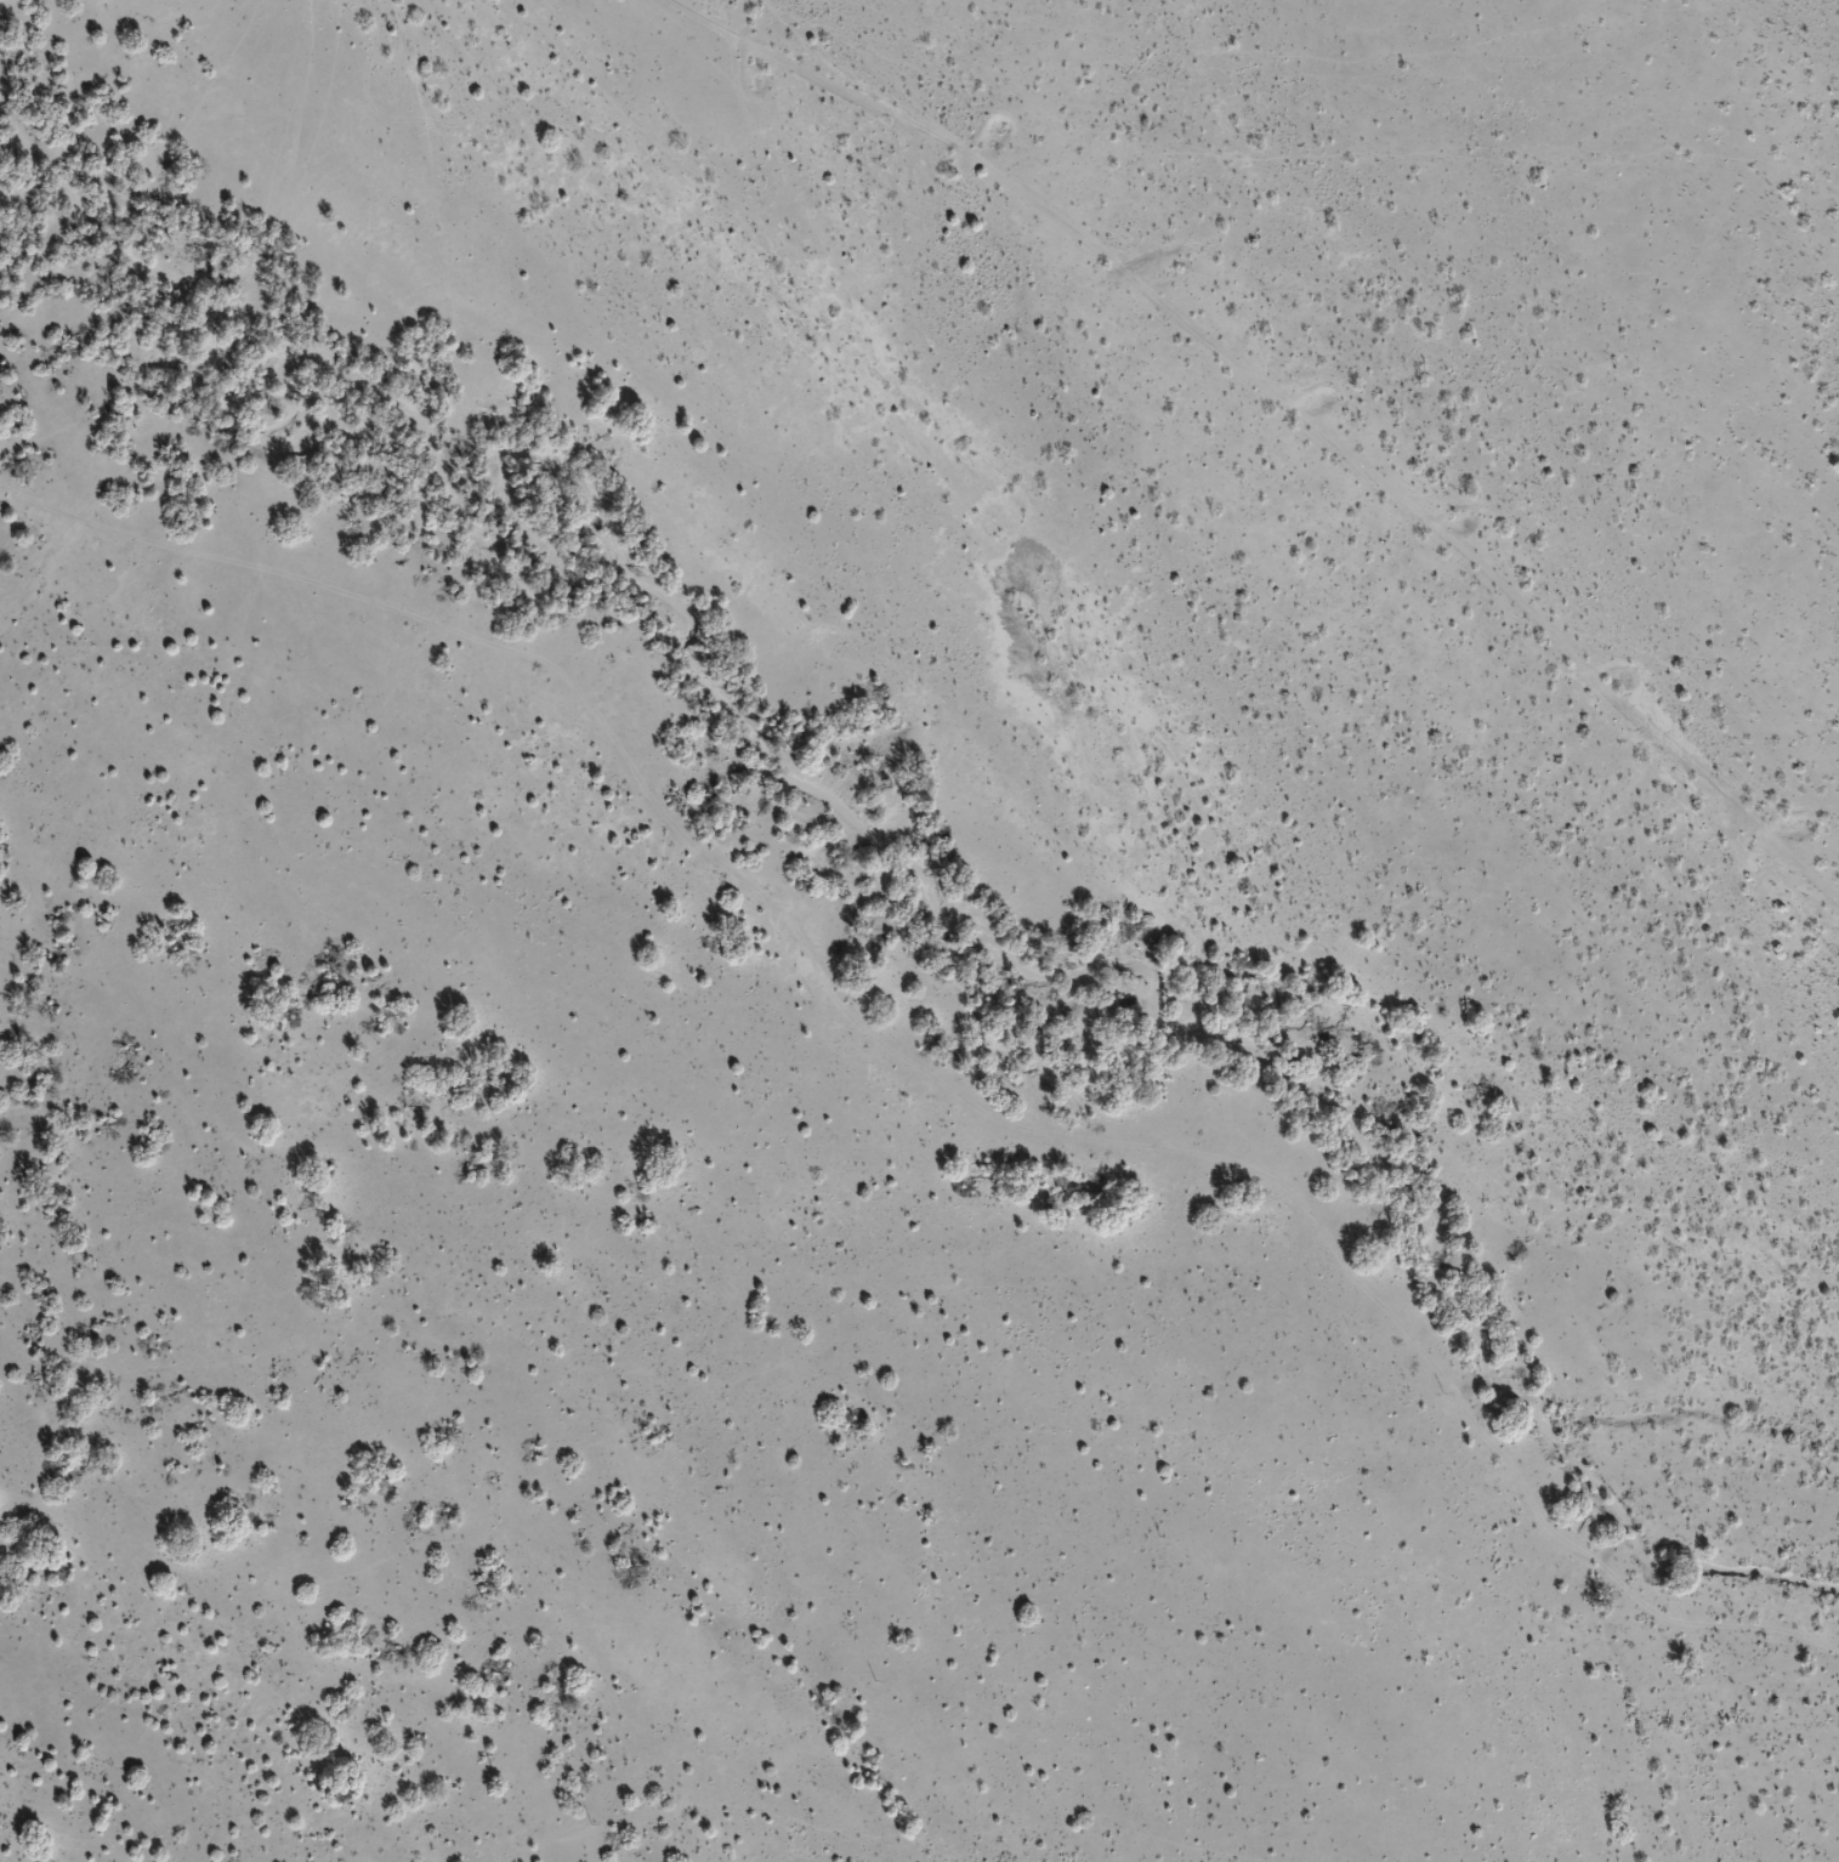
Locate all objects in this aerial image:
road: (1296, 413)

